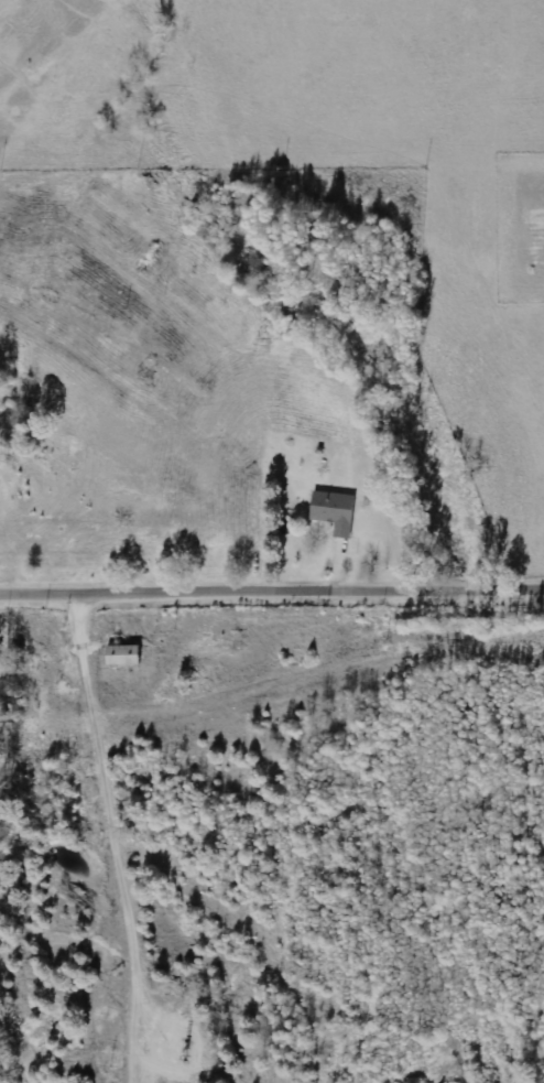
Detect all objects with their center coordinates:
building: (337, 511)
road: (272, 593)
building: (126, 656)

